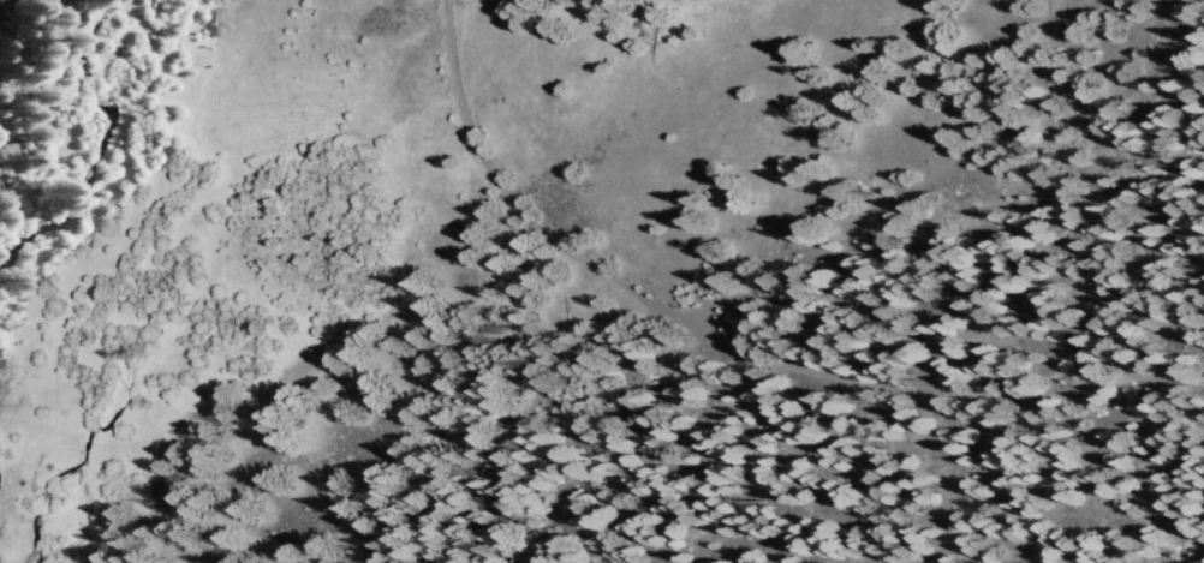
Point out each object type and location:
road: (934, 172)
road: (506, 199)
road: (937, 390)

